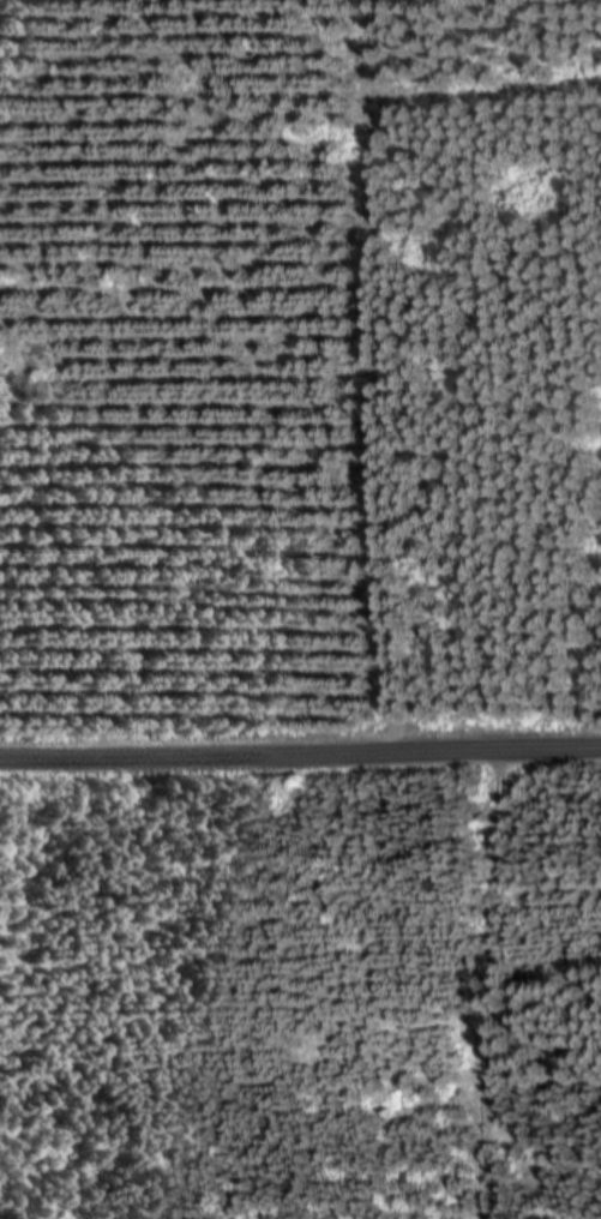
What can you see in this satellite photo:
road: (300, 761)

